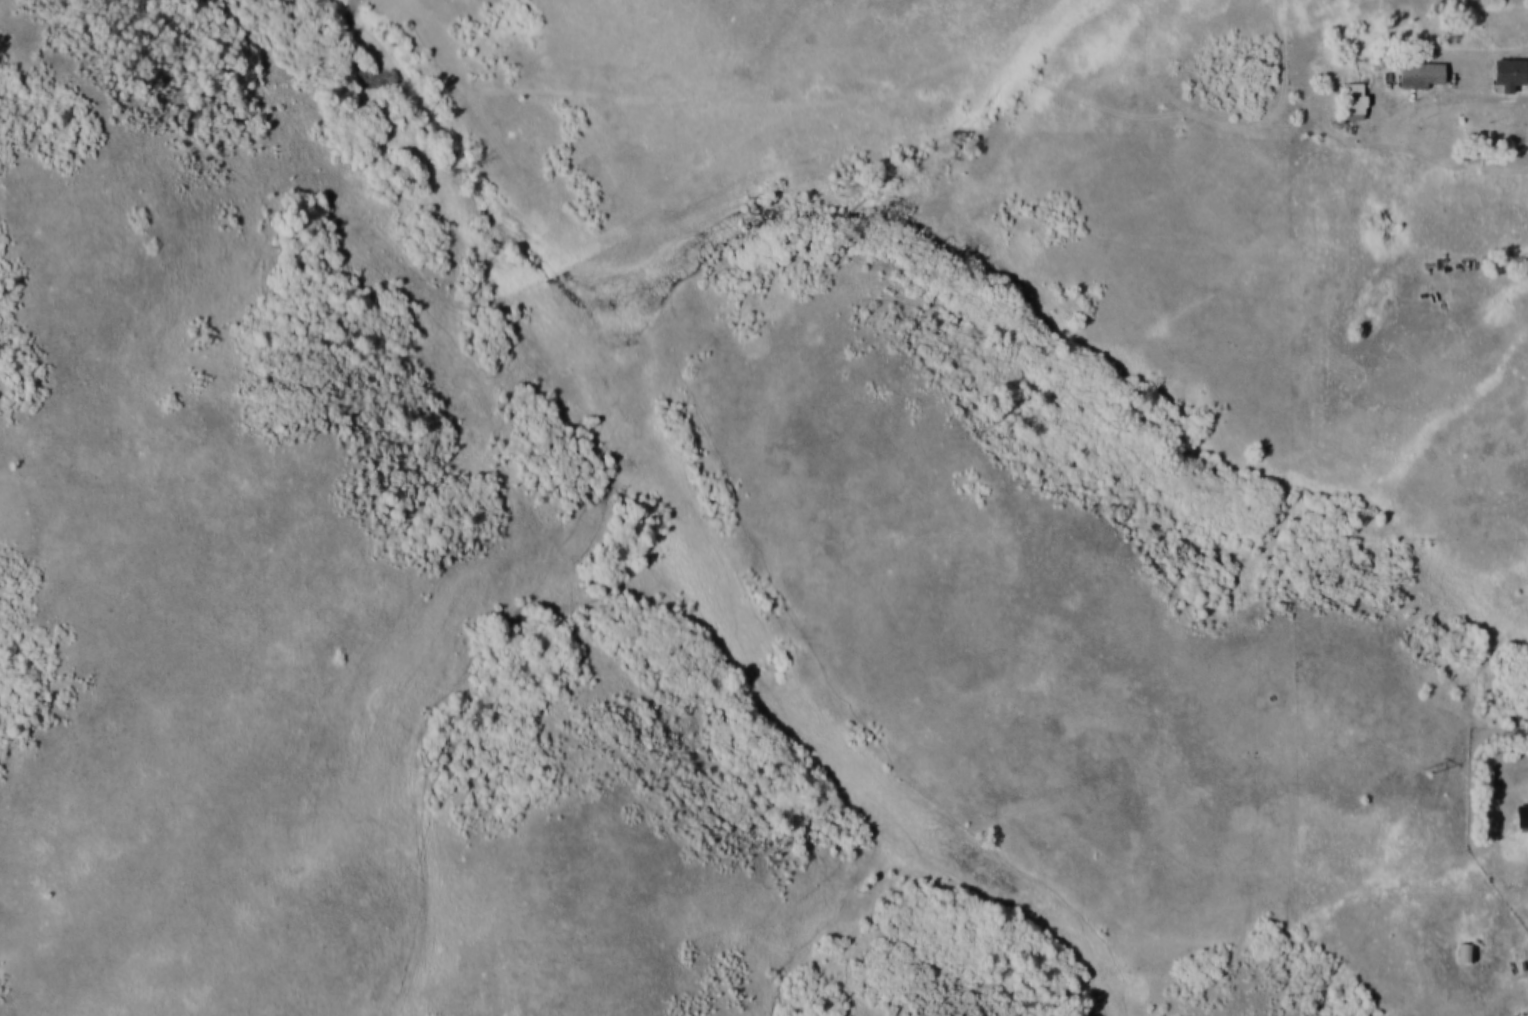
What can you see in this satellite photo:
building: (1421, 73)
building: (1509, 73)
road: (1487, 93)
building: (1354, 100)
power tower: (1429, 772)
building: (1522, 814)
building: (1465, 951)

